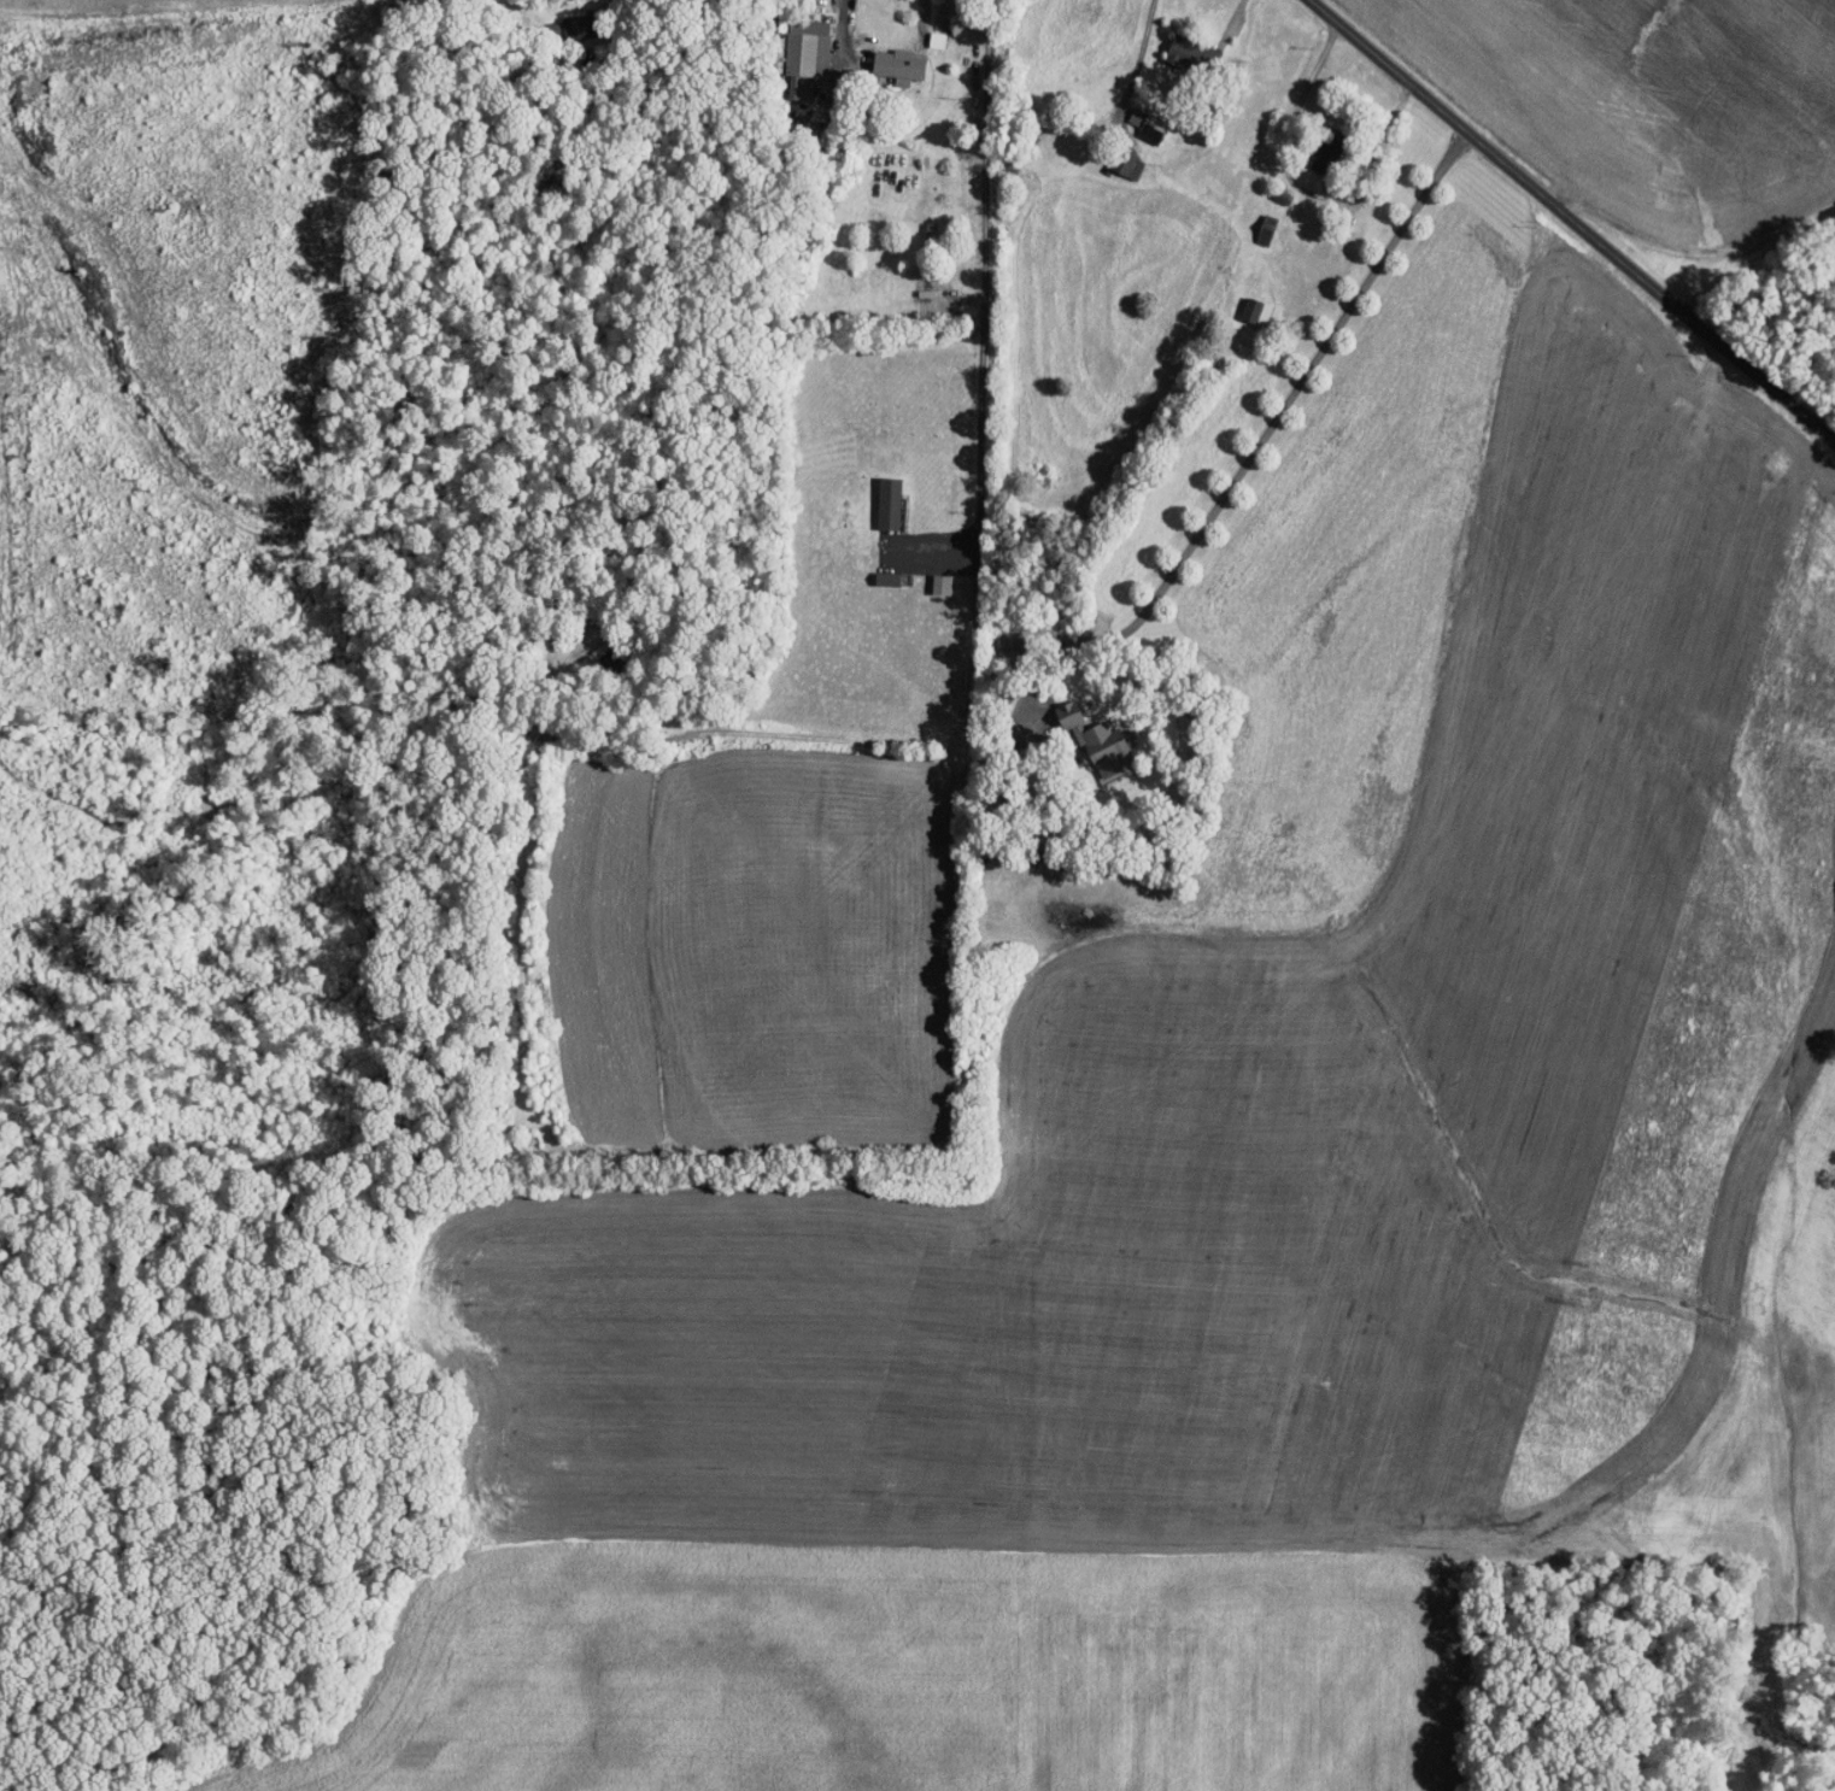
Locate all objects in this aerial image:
building: (574, 27)
building: (805, 54)
building: (897, 65)
building: (1145, 125)
building: (1321, 158)
building: (1125, 165)
road: (1579, 215)
building: (1264, 228)
building: (921, 290)
building: (1254, 311)
road: (1264, 438)
building: (887, 503)
road: (972, 612)
building: (1065, 715)
building: (1101, 747)

